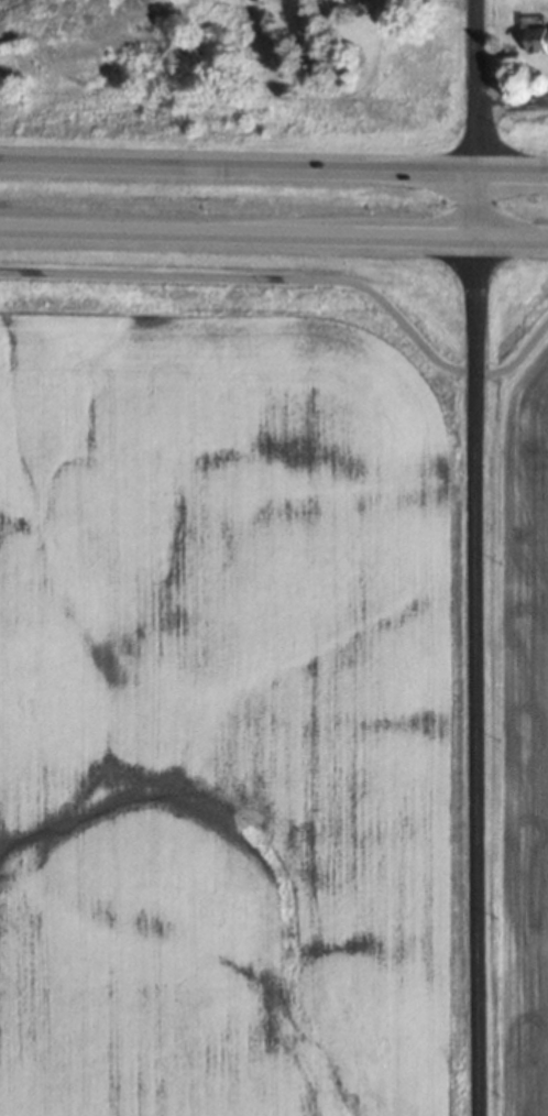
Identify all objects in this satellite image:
building: (534, 35)
quarry: (234, 44)
road: (513, 101)
road: (273, 167)
road: (273, 233)
road: (298, 286)
road: (475, 557)

